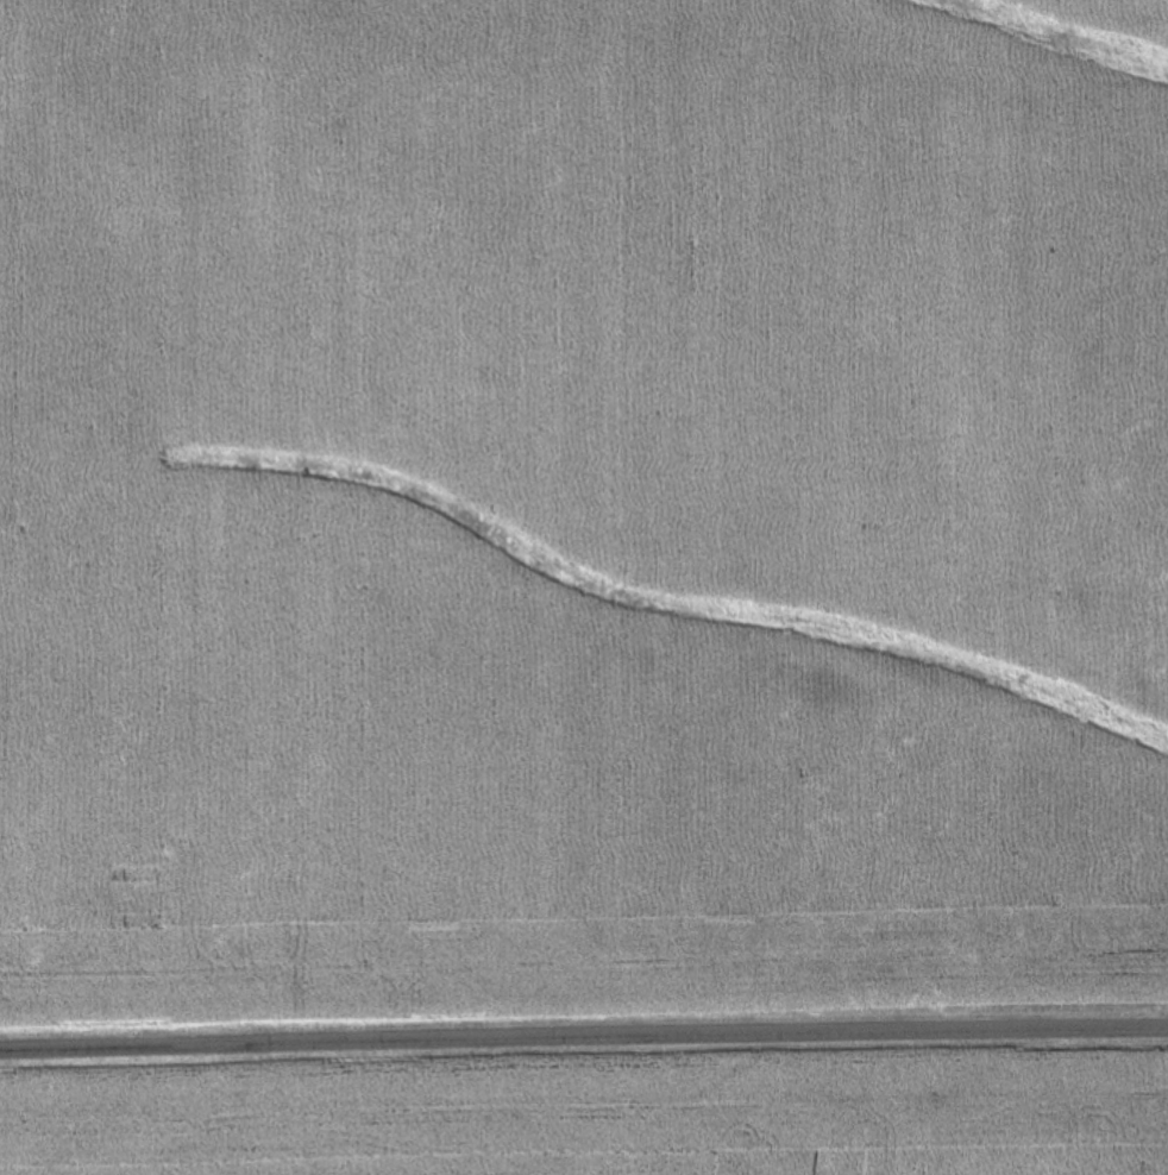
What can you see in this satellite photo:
road: (583, 1033)

